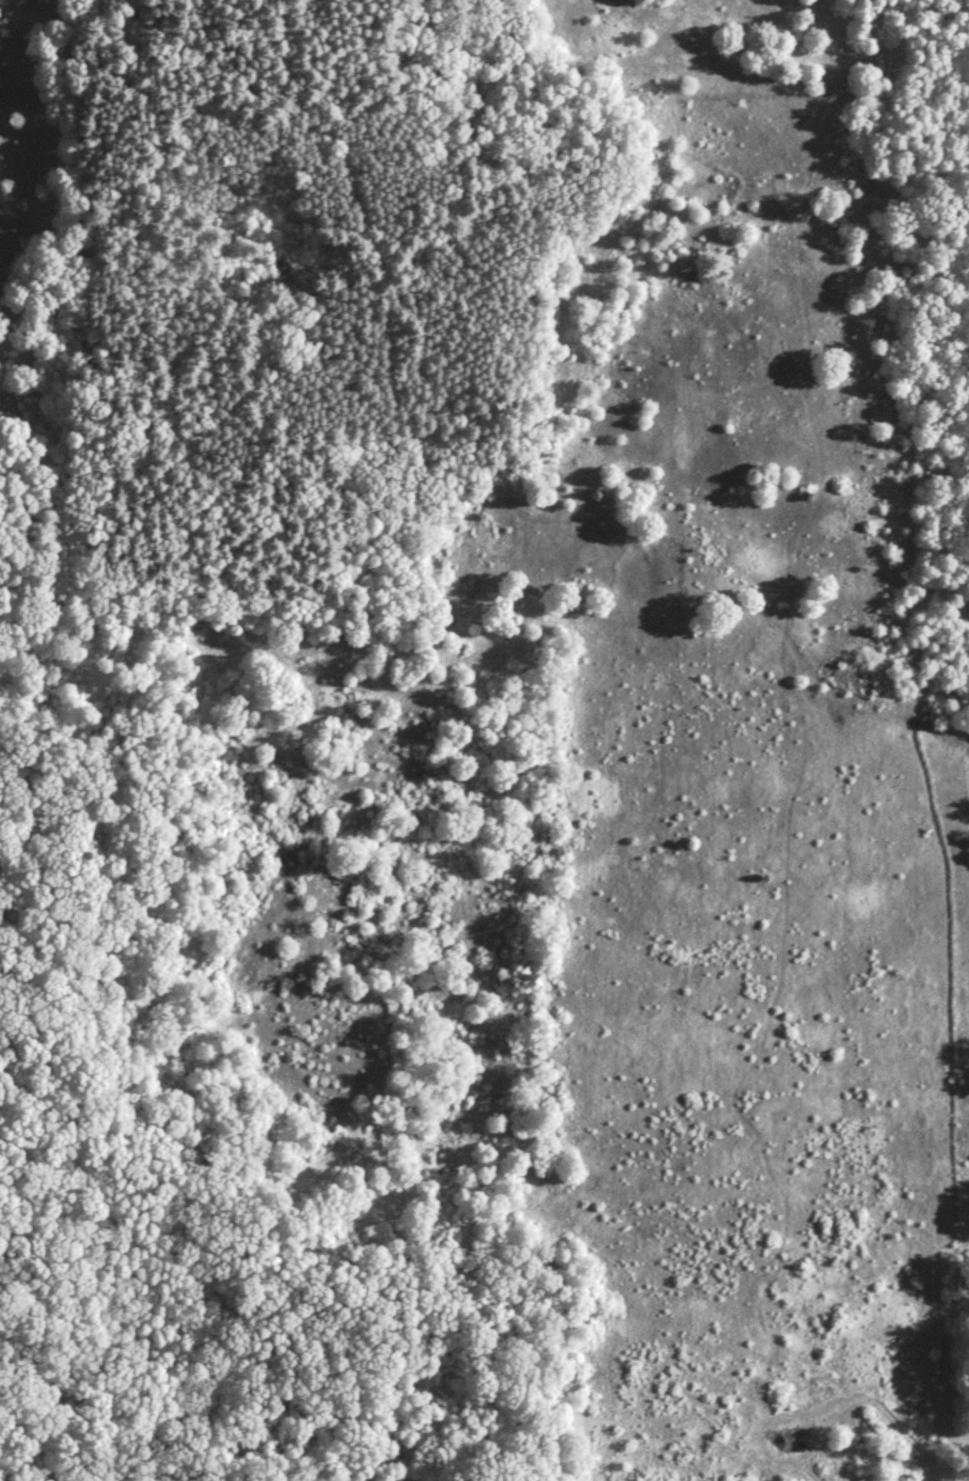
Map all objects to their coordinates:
road: (243, 360)

